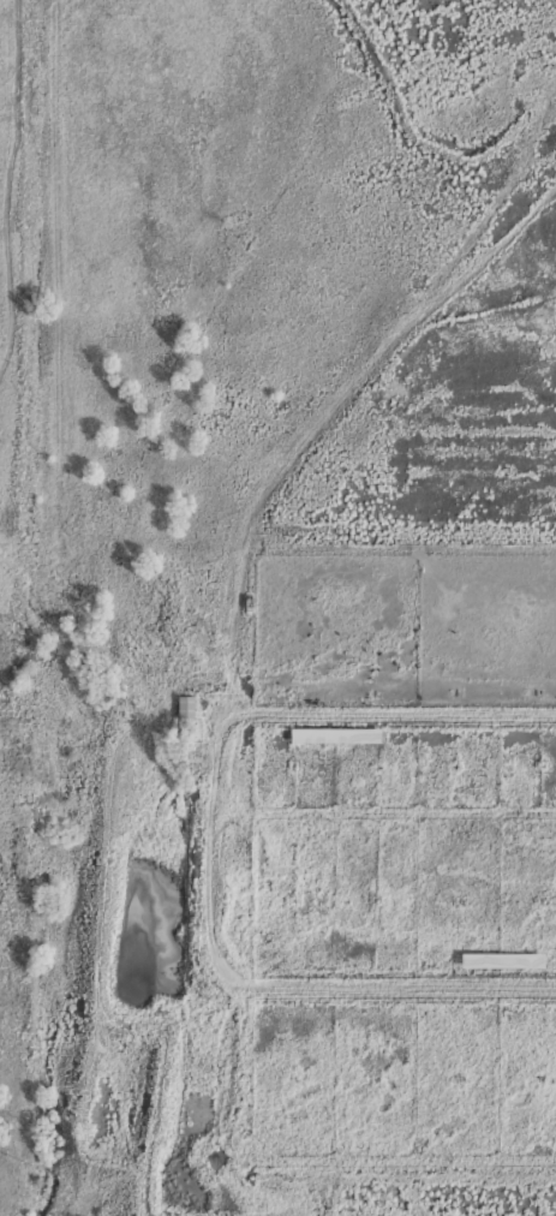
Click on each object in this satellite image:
road: (41, 601)
building: (187, 707)
building: (336, 733)
building: (501, 958)
road: (249, 988)

